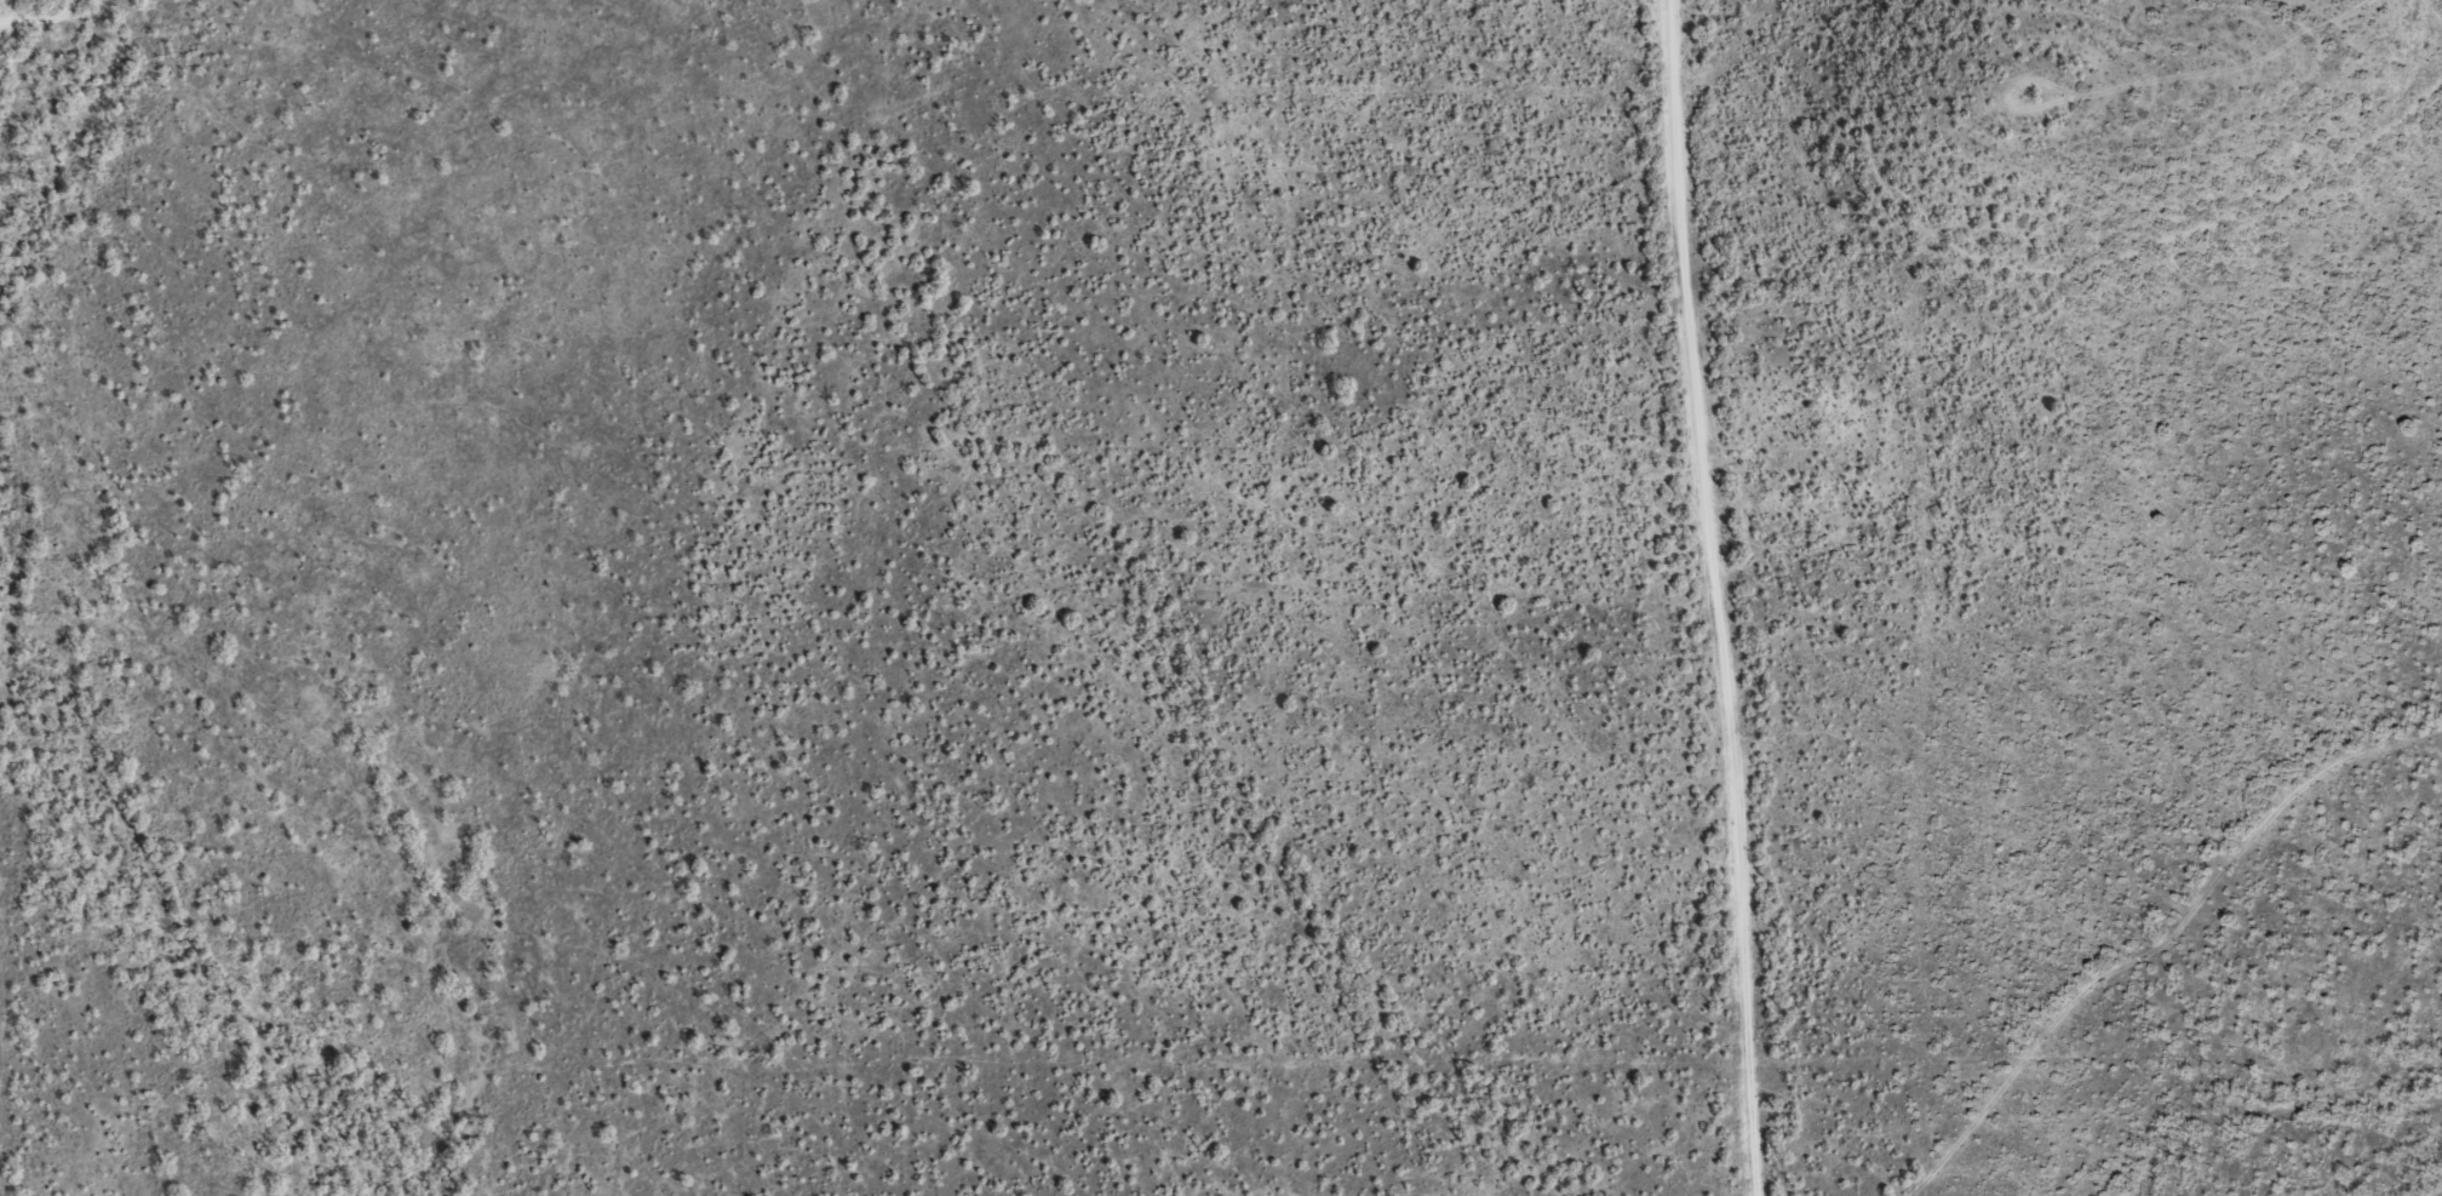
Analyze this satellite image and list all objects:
road: (1770, 595)

